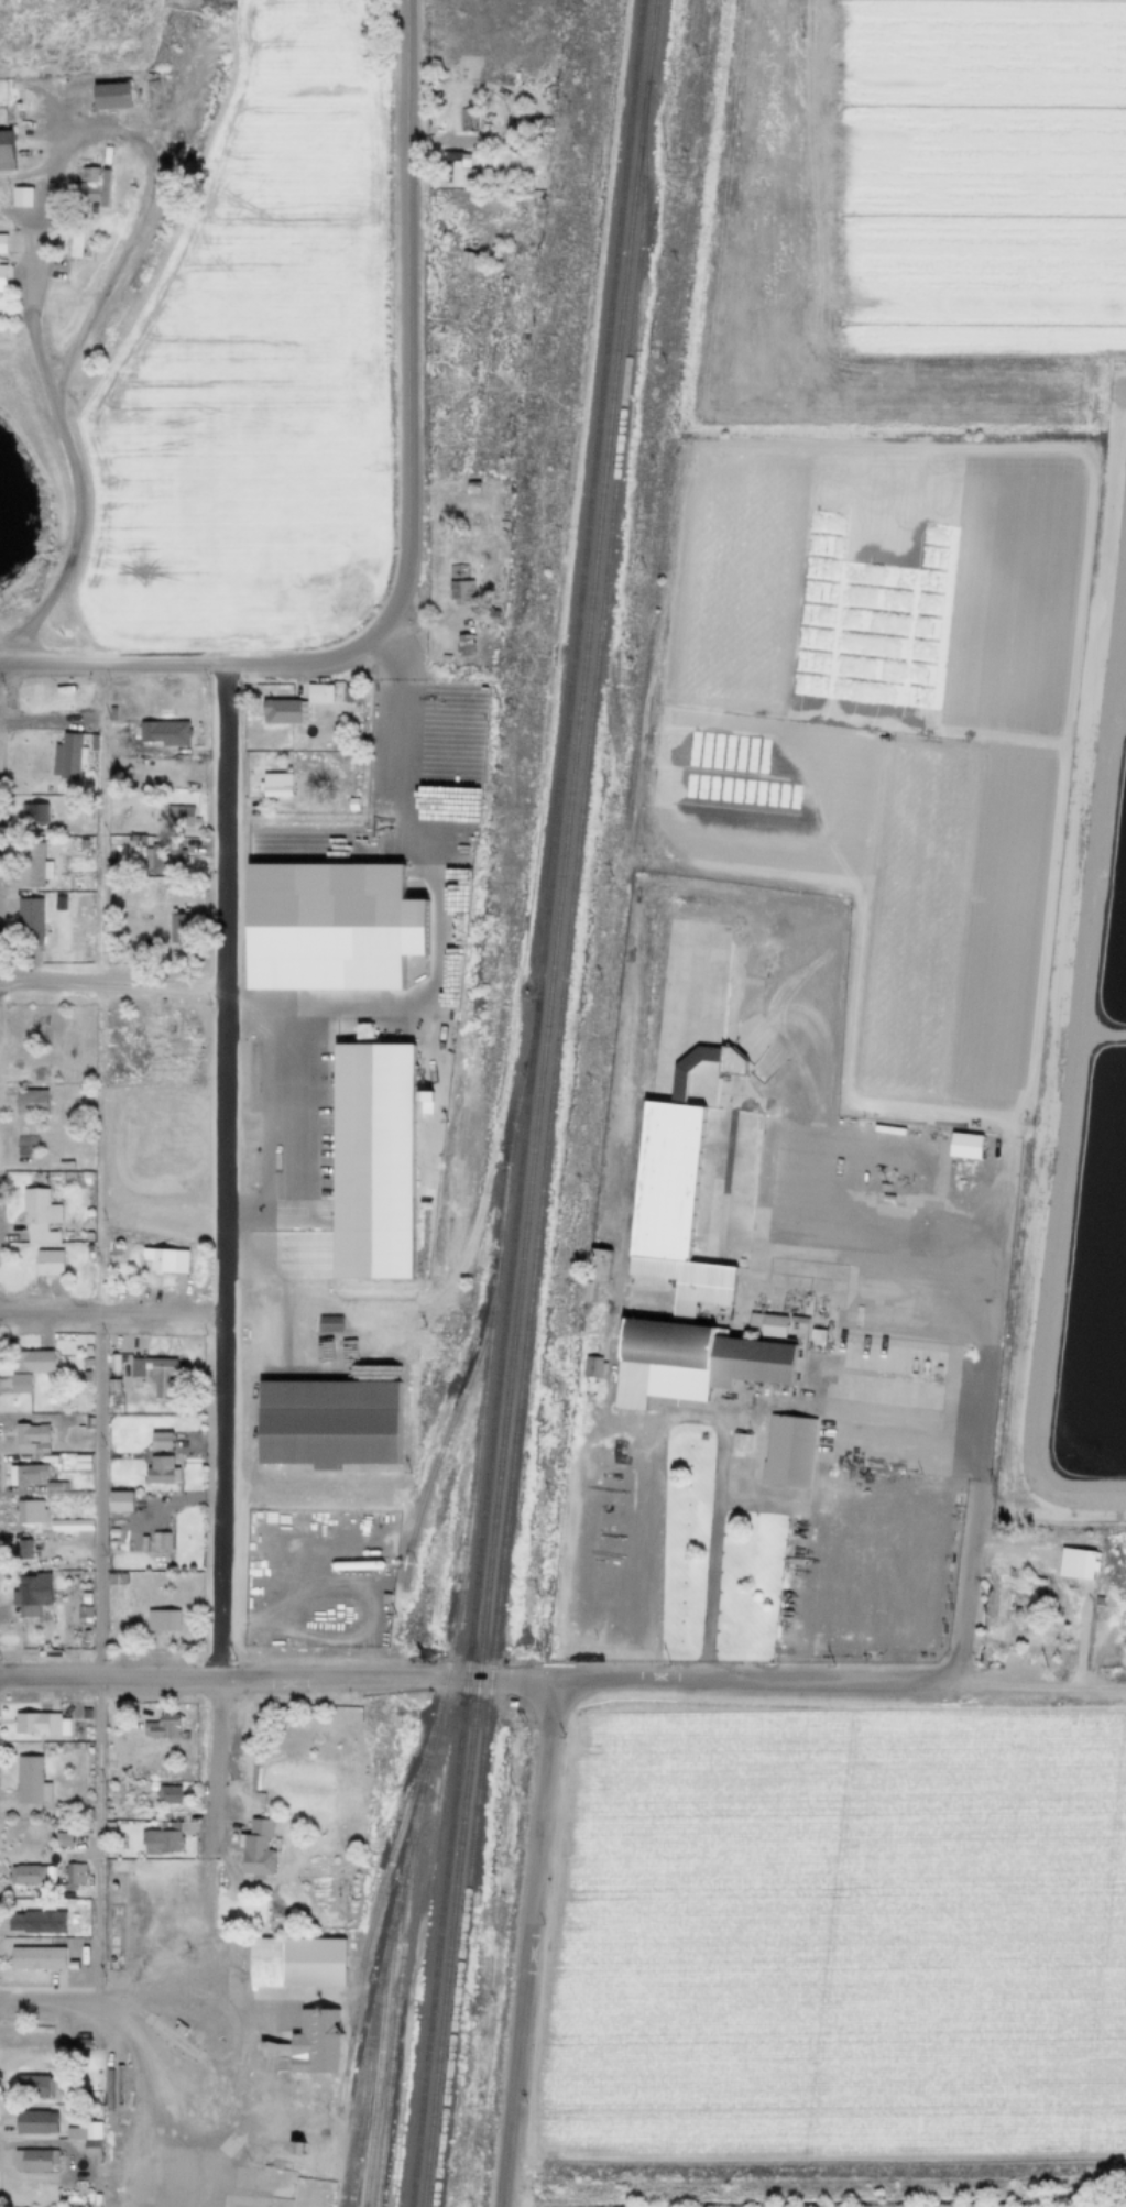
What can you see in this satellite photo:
building: (110, 96)
road: (176, 110)
building: (469, 122)
road: (113, 128)
building: (6, 151)
building: (456, 167)
building: (89, 172)
road: (28, 175)
building: (90, 193)
building: (20, 195)
road: (24, 211)
building: (6, 222)
building: (452, 240)
building: (2, 243)
building: (76, 244)
building: (469, 261)
building: (123, 273)
building: (2, 277)
building: (471, 488)
road: (408, 514)
road: (75, 546)
building: (461, 593)
road: (1119, 612)
railway: (578, 614)
building: (489, 616)
building: (463, 644)
building: (444, 658)
road: (391, 679)
road: (1116, 686)
building: (319, 693)
building: (351, 693)
building: (281, 711)
building: (111, 712)
building: (338, 717)
road: (51, 721)
road: (1114, 721)
building: (165, 733)
building: (92, 745)
building: (67, 756)
building: (281, 785)
building: (352, 805)
building: (32, 813)
building: (182, 817)
building: (134, 842)
building: (83, 844)
building: (158, 856)
road: (1094, 860)
building: (33, 870)
building: (179, 929)
building: (30, 930)
crop: (1085, 979)
road: (113, 982)
road: (1089, 1027)
building: (163, 1029)
road: (1094, 1035)
building: (31, 1102)
railway: (537, 1103)
road: (283, 1107)
building: (690, 1128)
building: (26, 1145)
building: (964, 1145)
railway: (546, 1146)
building: (65, 1165)
road: (227, 1171)
road: (489, 1176)
building: (35, 1215)
building: (112, 1252)
road: (958, 1252)
building: (163, 1258)
building: (44, 1263)
building: (595, 1272)
road: (415, 1311)
road: (1046, 1311)
road: (113, 1314)
building: (798, 1319)
building: (329, 1323)
building: (773, 1326)
road: (99, 1335)
building: (817, 1336)
building: (84, 1351)
building: (30, 1362)
building: (689, 1362)
building: (83, 1363)
building: (111, 1363)
building: (591, 1365)
building: (153, 1373)
building: (81, 1376)
building: (18, 1384)
building: (109, 1385)
building: (58, 1401)
building: (121, 1407)
building: (80, 1422)
building: (327, 1422)
railway: (449, 1430)
building: (28, 1439)
building: (157, 1441)
building: (741, 1441)
building: (788, 1451)
building: (157, 1472)
building: (21, 1474)
building: (52, 1487)
road: (253, 1492)
road: (50, 1495)
building: (117, 1501)
building: (48, 1518)
building: (113, 1520)
building: (110, 1533)
building: (157, 1541)
building: (109, 1545)
road: (648, 1545)
building: (20, 1549)
road: (359, 1552)
building: (1075, 1563)
building: (357, 1564)
storage tank: (357, 1564)
building: (1020, 1566)
building: (1036, 1581)
road: (348, 1583)
building: (1020, 1588)
road: (294, 1591)
building: (29, 1594)
building: (376, 1595)
building: (1039, 1595)
building: (1098, 1599)
railway: (458, 1605)
building: (1016, 1610)
building: (999, 1613)
building: (80, 1615)
building: (160, 1621)
road: (327, 1636)
road: (111, 1678)
road: (674, 1682)
building: (86, 1715)
railway: (462, 1718)
building: (41, 1724)
building: (161, 1726)
road: (220, 1767)
building: (30, 1780)
building: (167, 1794)
building: (107, 1803)
building: (108, 1813)
road: (542, 1822)
building: (80, 1825)
building: (107, 1825)
building: (161, 1838)
building: (62, 1839)
building: (258, 1848)
building: (74, 1872)
building: (31, 1873)
building: (272, 1910)
railway: (374, 1918)
building: (37, 1921)
crop: (834, 1930)
building: (35, 1957)
building: (296, 1962)
road: (189, 1966)
road: (51, 2004)
road: (238, 2007)
road: (200, 2011)
railway: (395, 2011)
road: (142, 2015)
building: (179, 2030)
road: (177, 2043)
building: (310, 2043)
building: (177, 2044)
building: (83, 2045)
railway: (368, 2061)
road: (203, 2062)
building: (34, 2086)
railway: (353, 2106)
building: (34, 2122)
road: (167, 2133)
building: (91, 2142)
building: (294, 2148)
building: (37, 2160)
road: (193, 2175)
building: (297, 2188)

